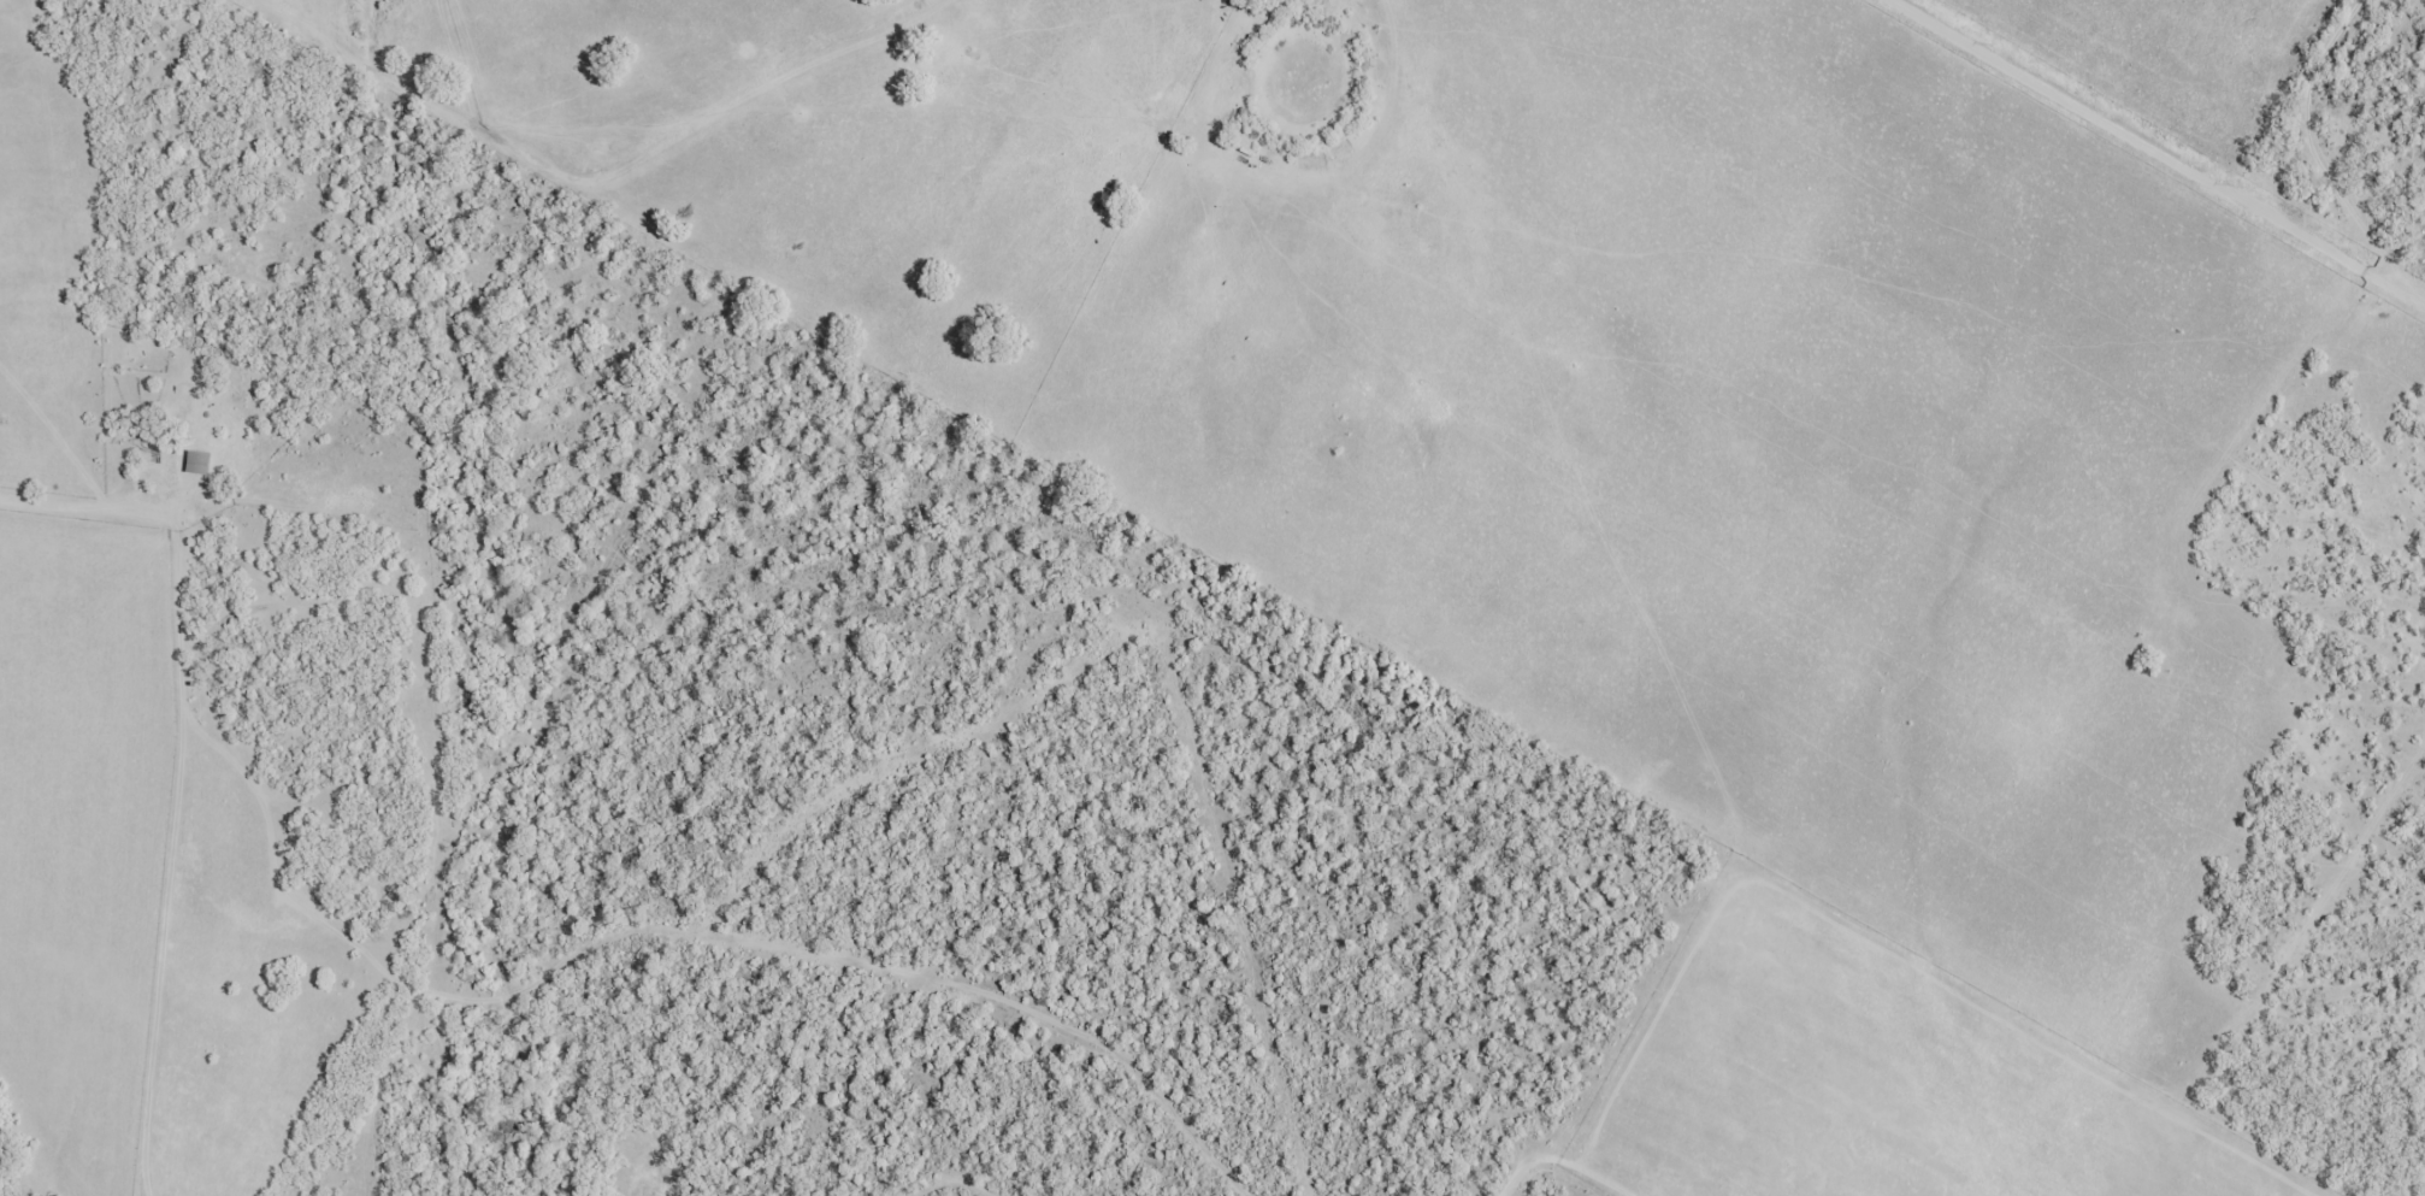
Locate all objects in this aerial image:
road: (2155, 153)
building: (197, 461)

